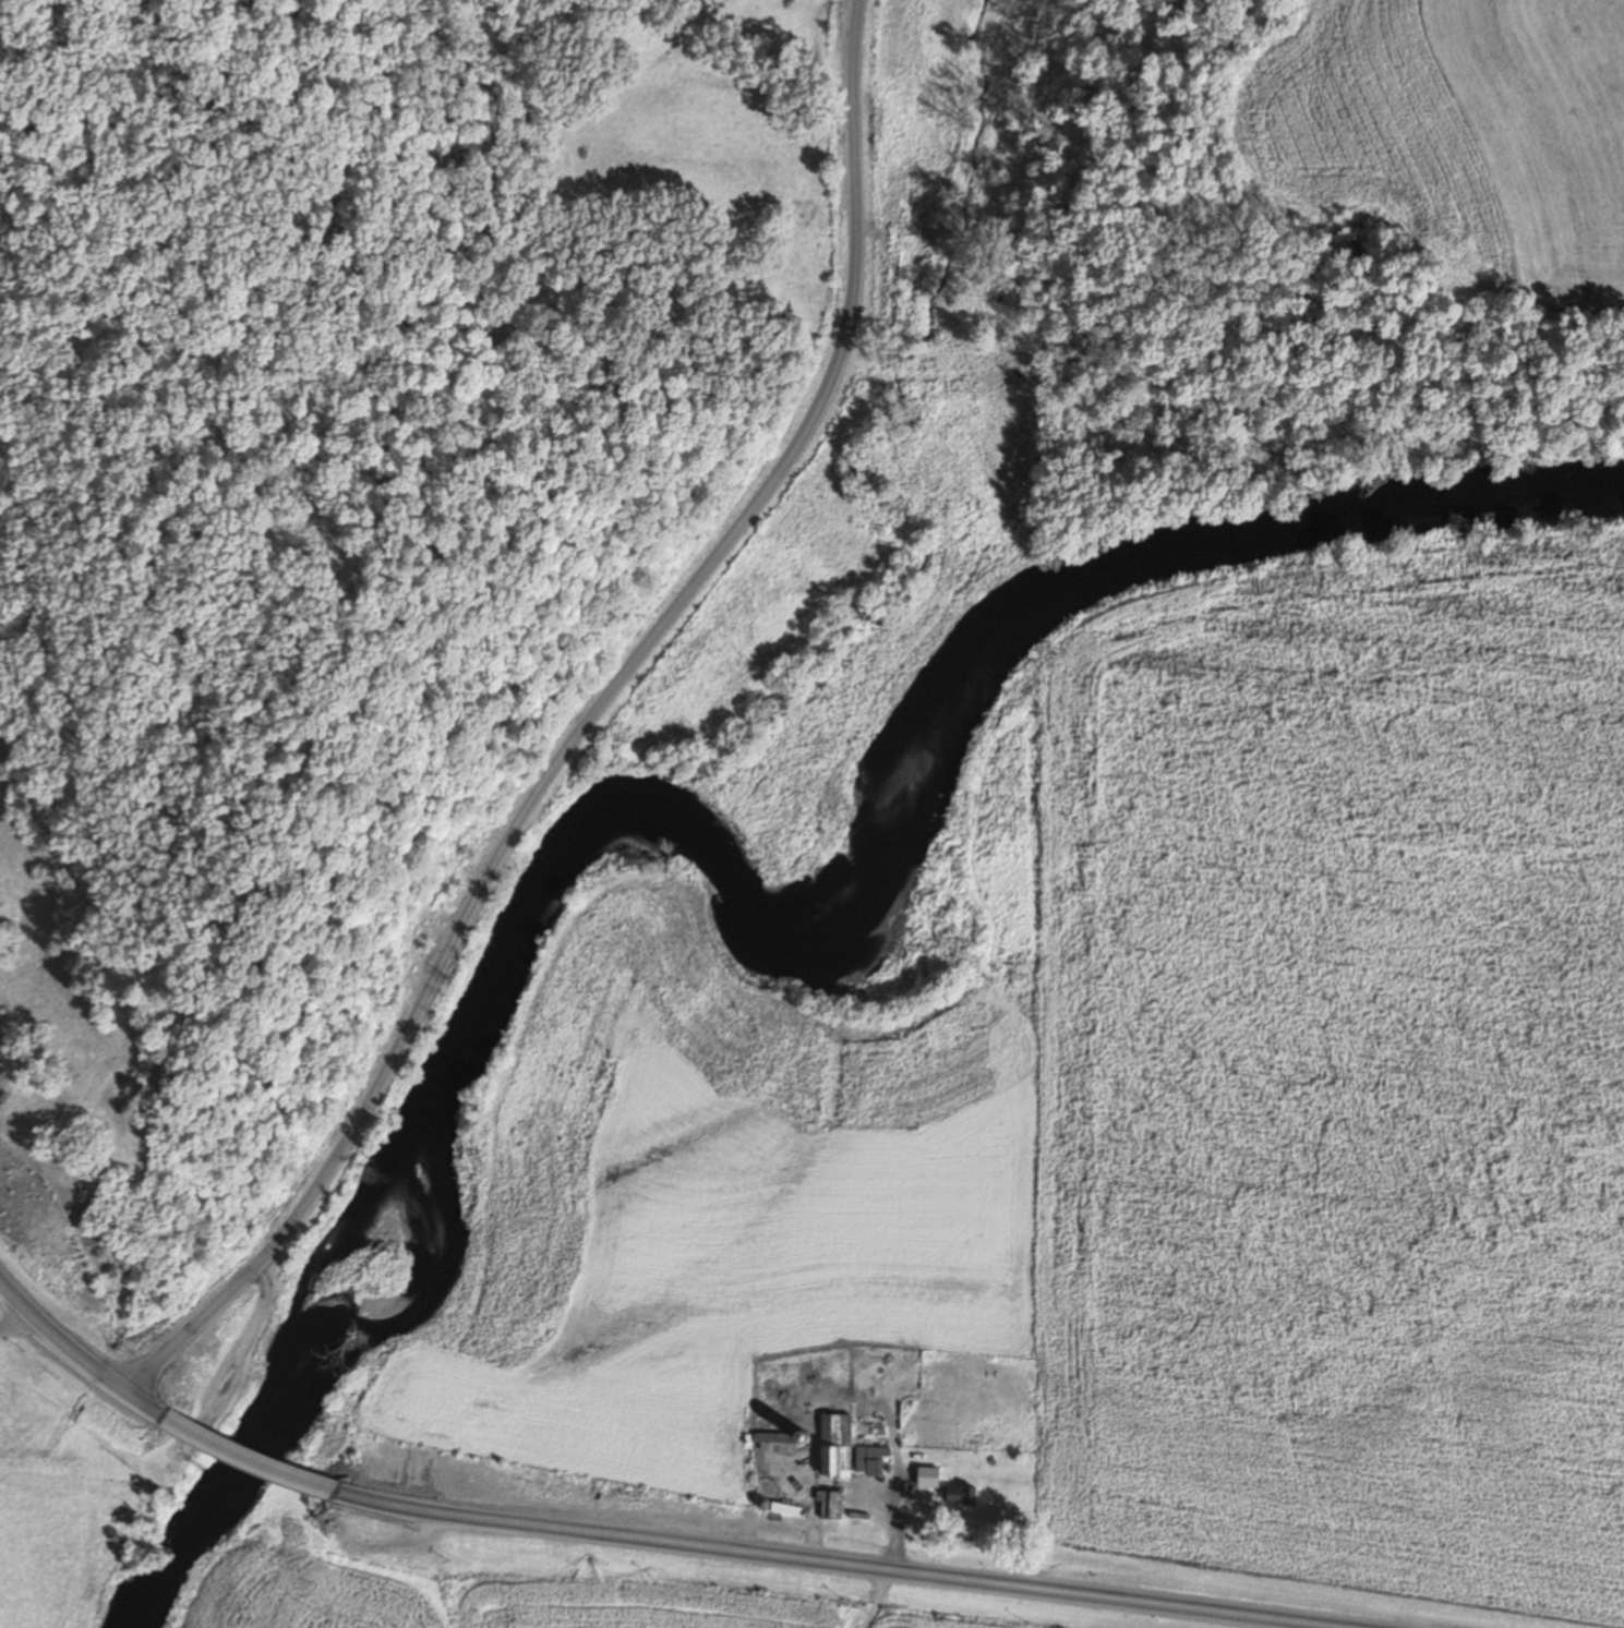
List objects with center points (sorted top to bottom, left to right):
road: (572, 731)
river: (753, 907)
road: (11, 1318)
road: (83, 1365)
building: (778, 1443)
building: (834, 1445)
building: (869, 1461)
road: (263, 1462)
building: (925, 1478)
building: (959, 1496)
building: (830, 1505)
road: (837, 1563)

